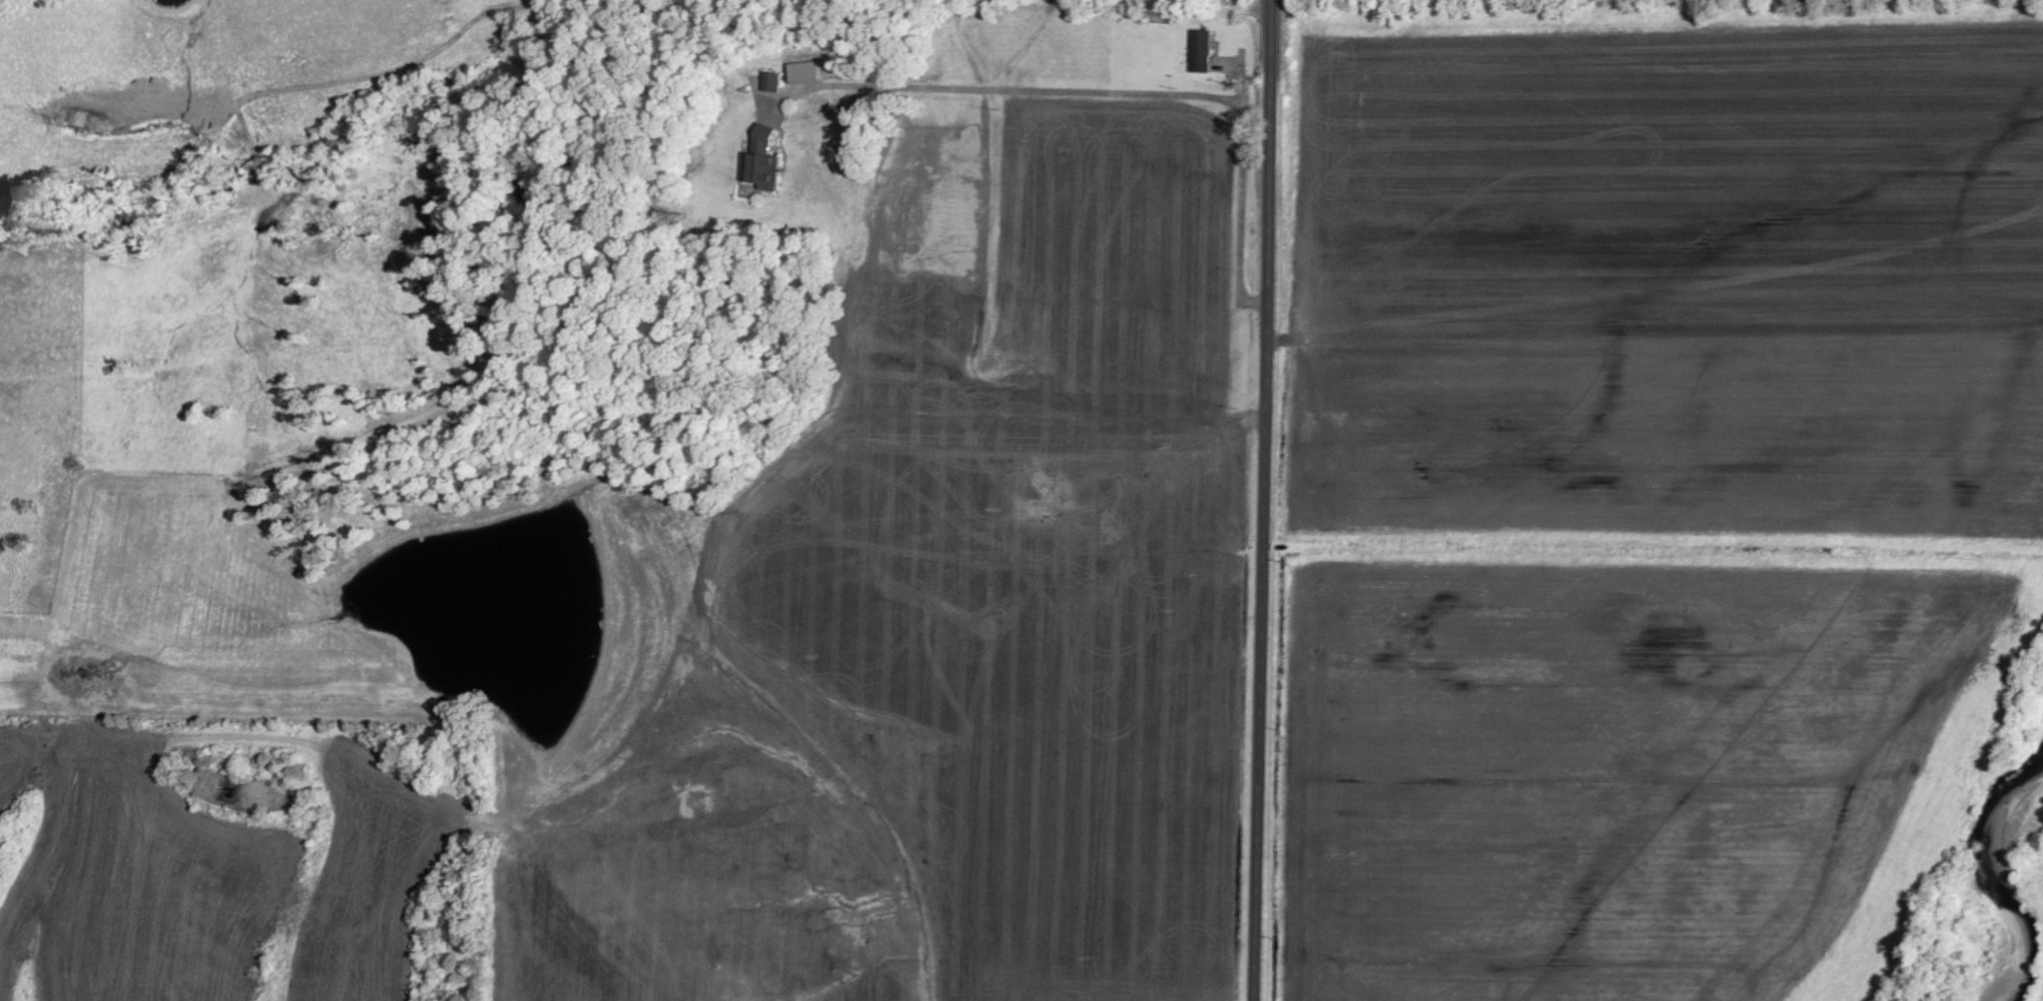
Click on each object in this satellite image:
building: (1203, 50)
building: (812, 70)
building: (777, 81)
building: (767, 159)
road: (1267, 500)

